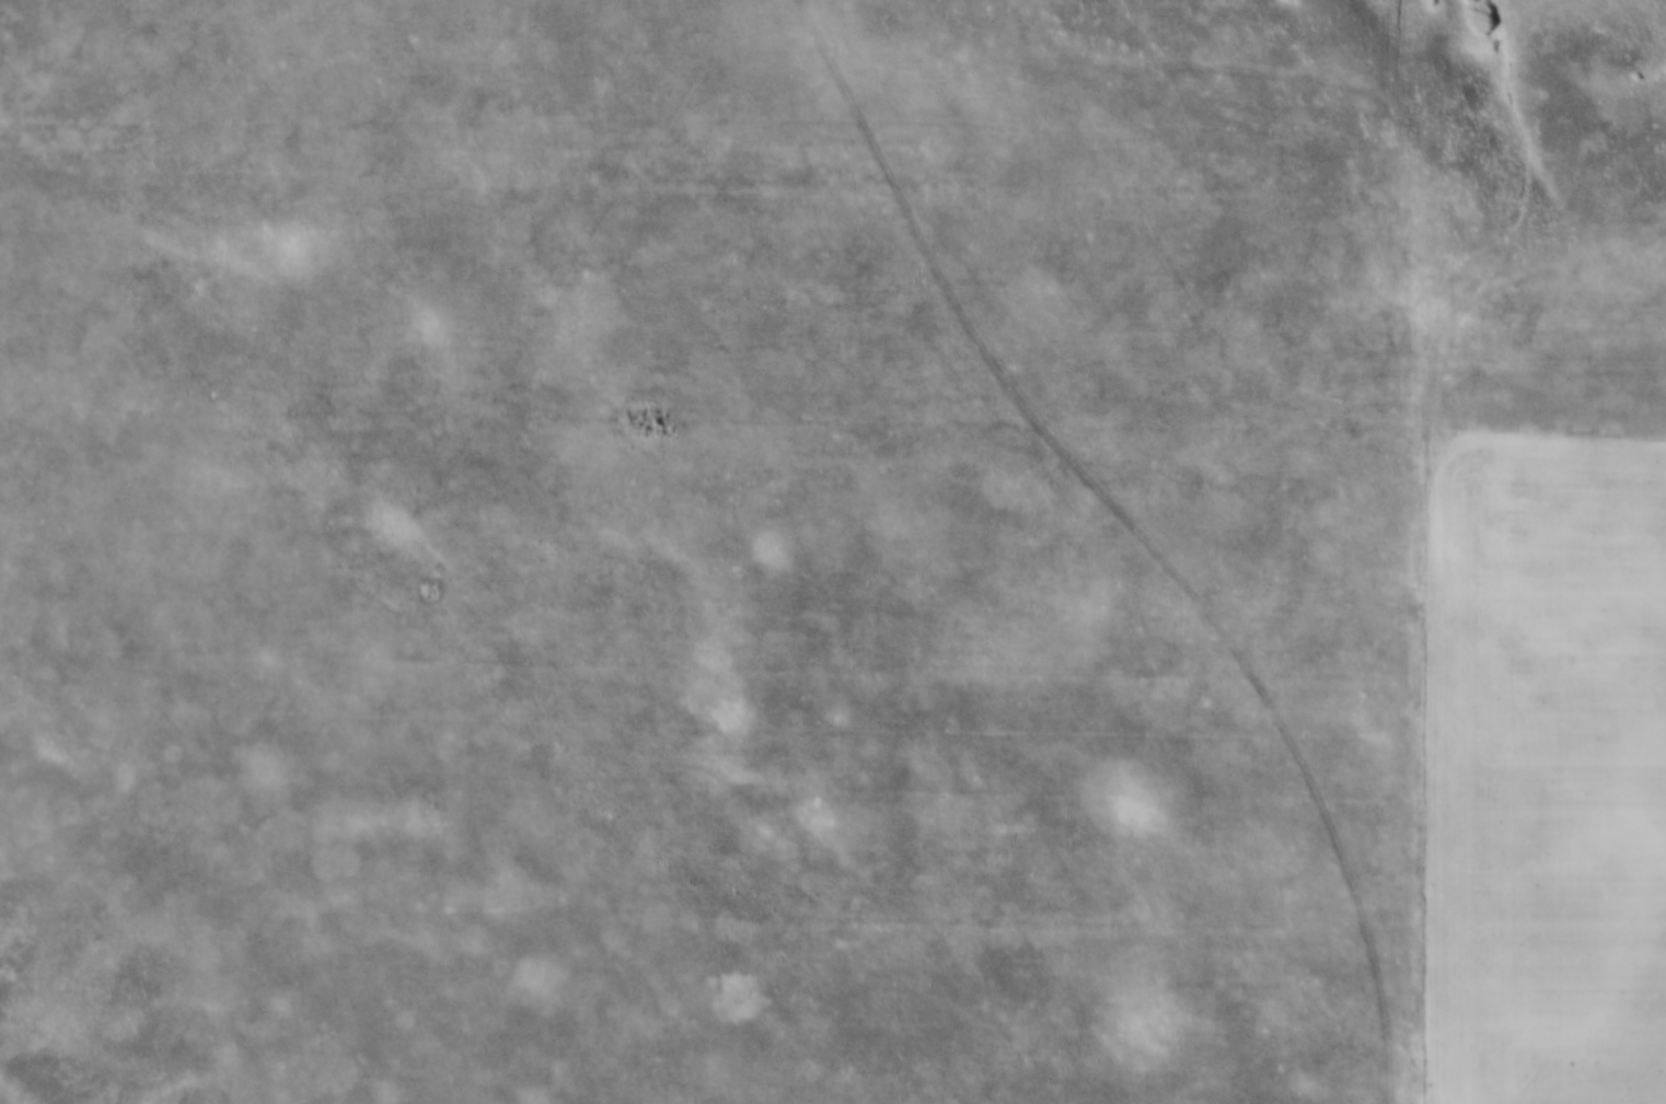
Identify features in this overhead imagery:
road: (1427, 631)

